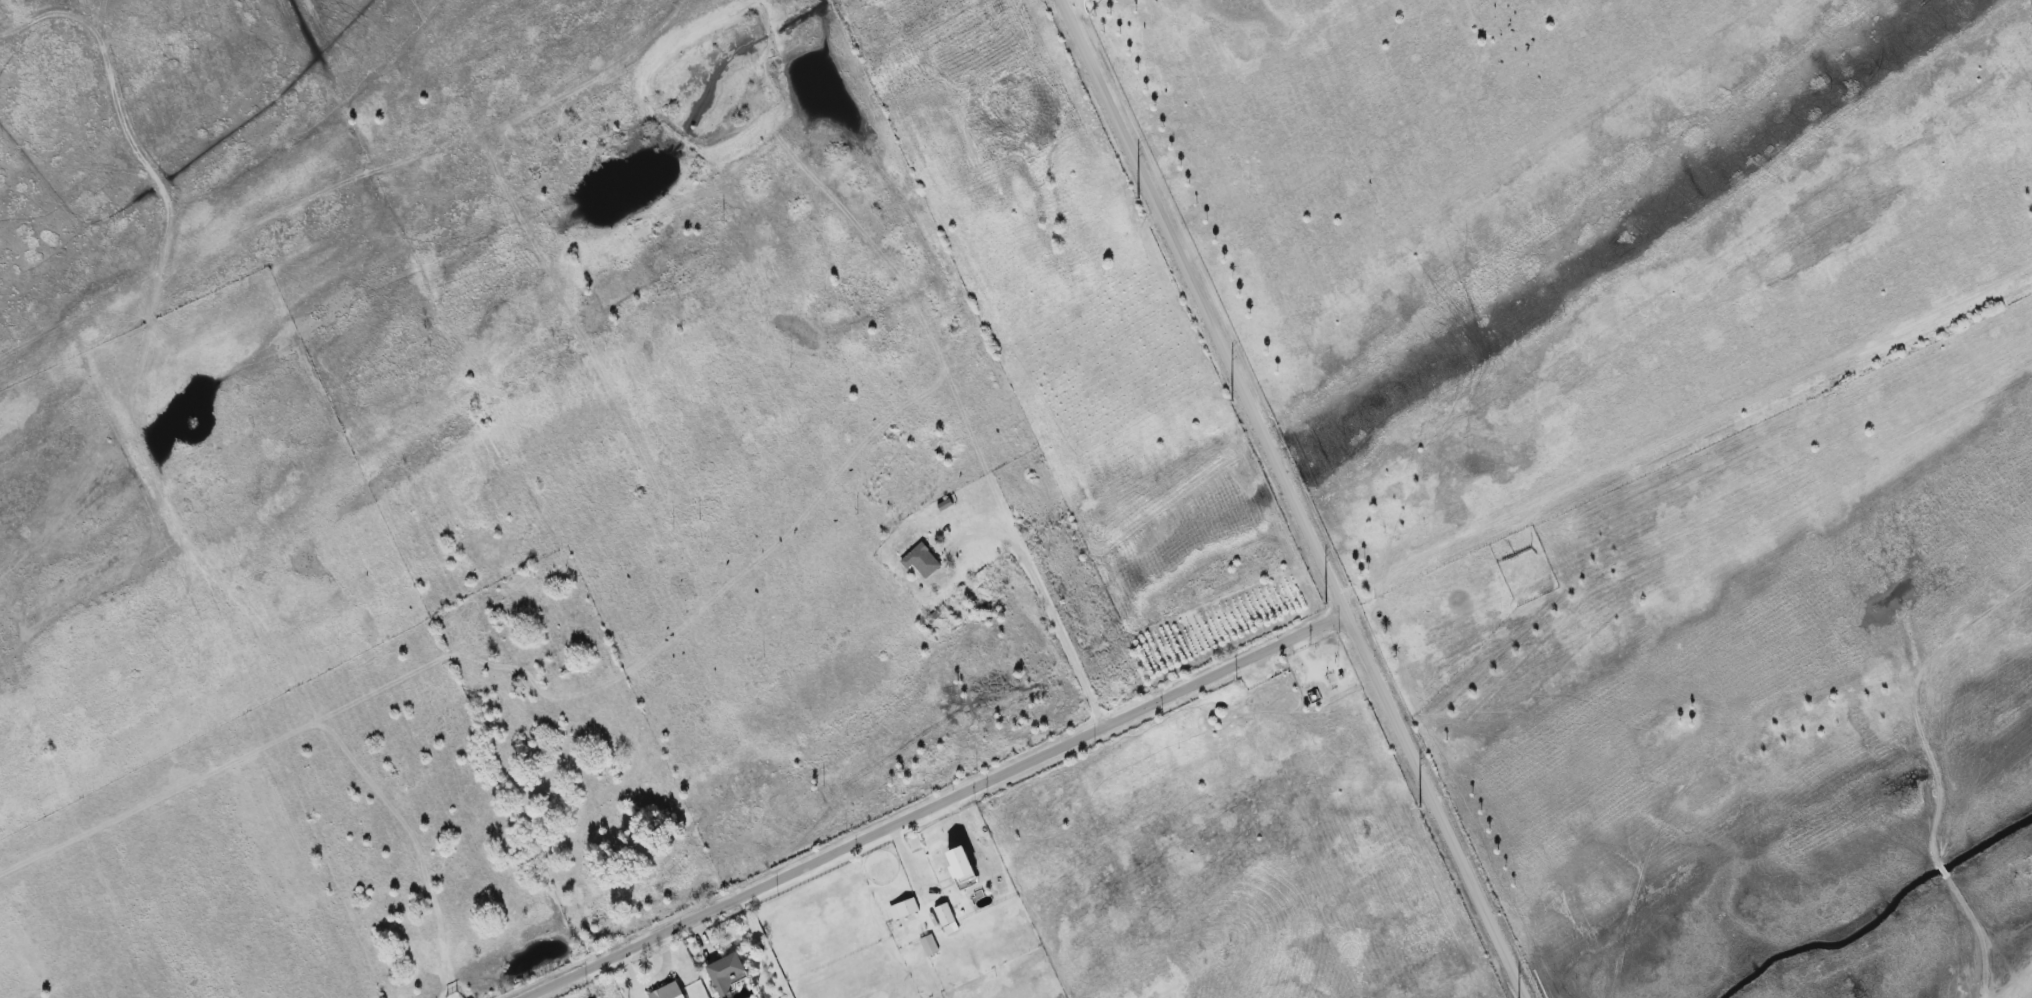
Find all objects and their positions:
road: (1204, 307)
building: (921, 561)
road: (1049, 601)
road: (937, 805)
road: (1436, 806)
building: (962, 869)
building: (904, 909)
building: (947, 920)
building: (929, 945)
building: (727, 974)
building: (668, 992)

